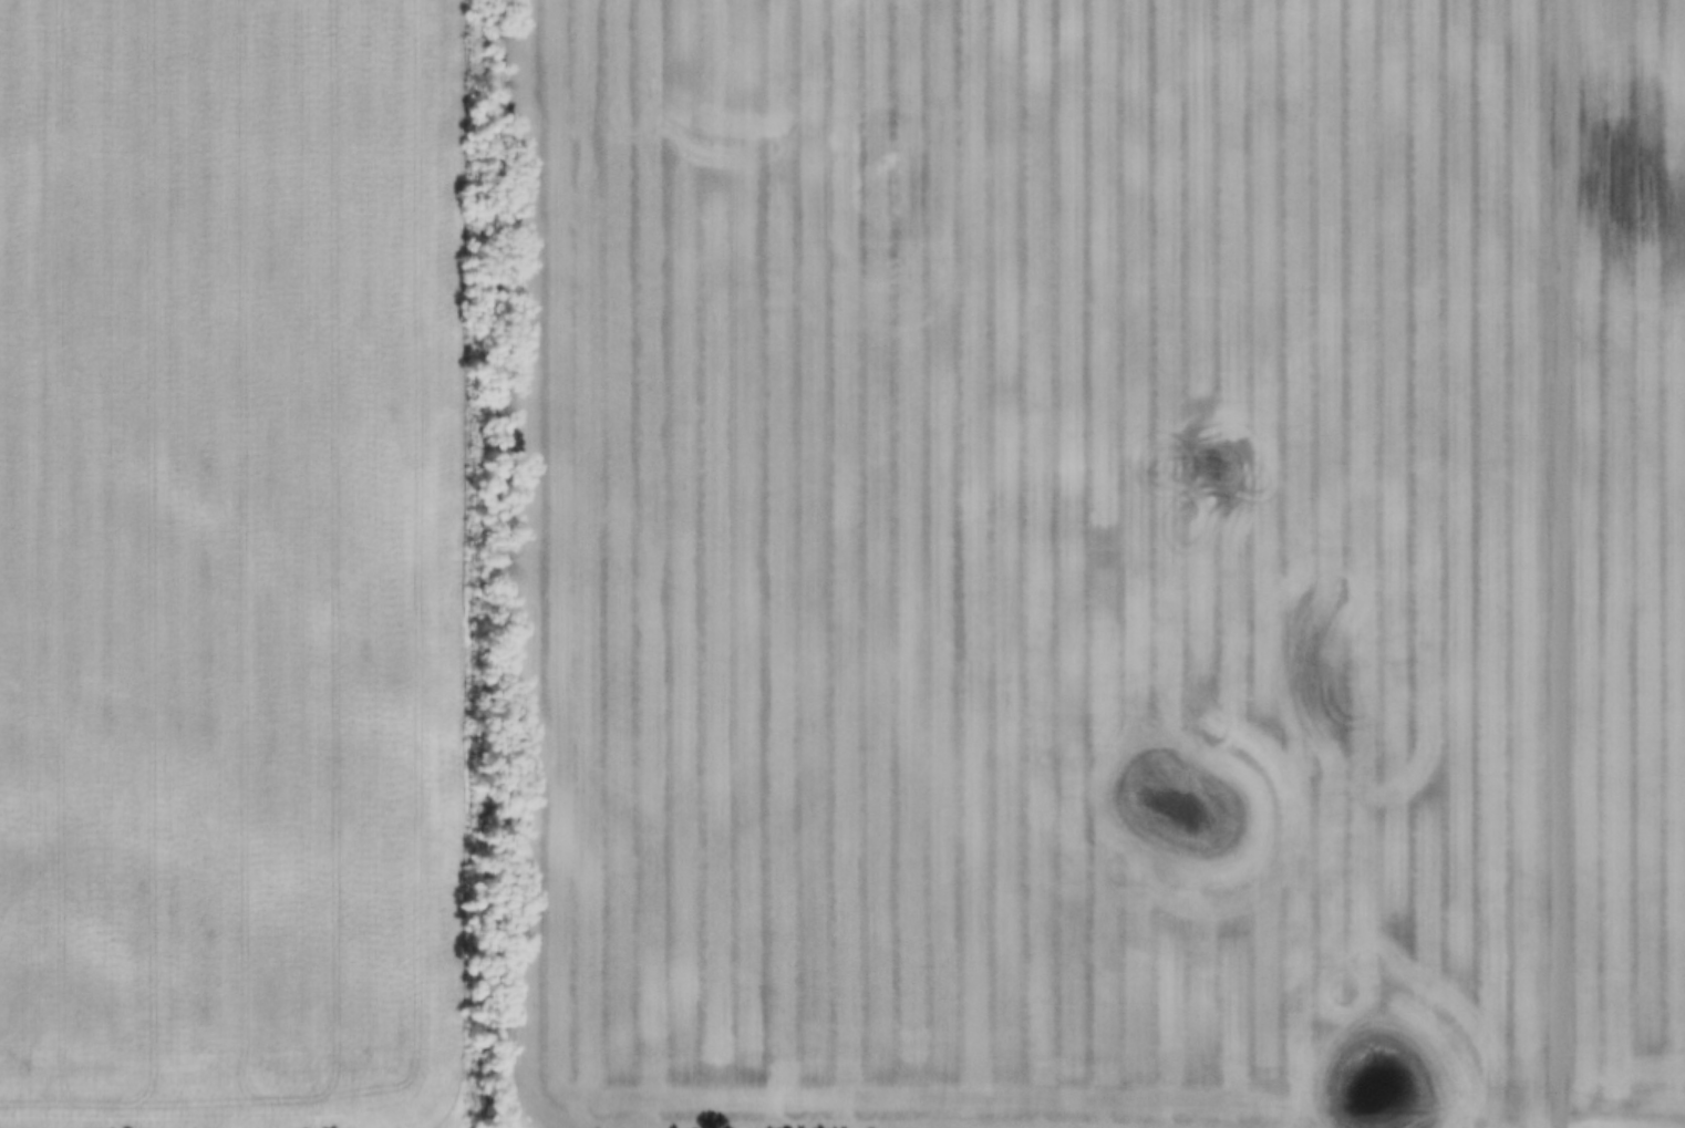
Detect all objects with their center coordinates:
road: (1563, 563)

